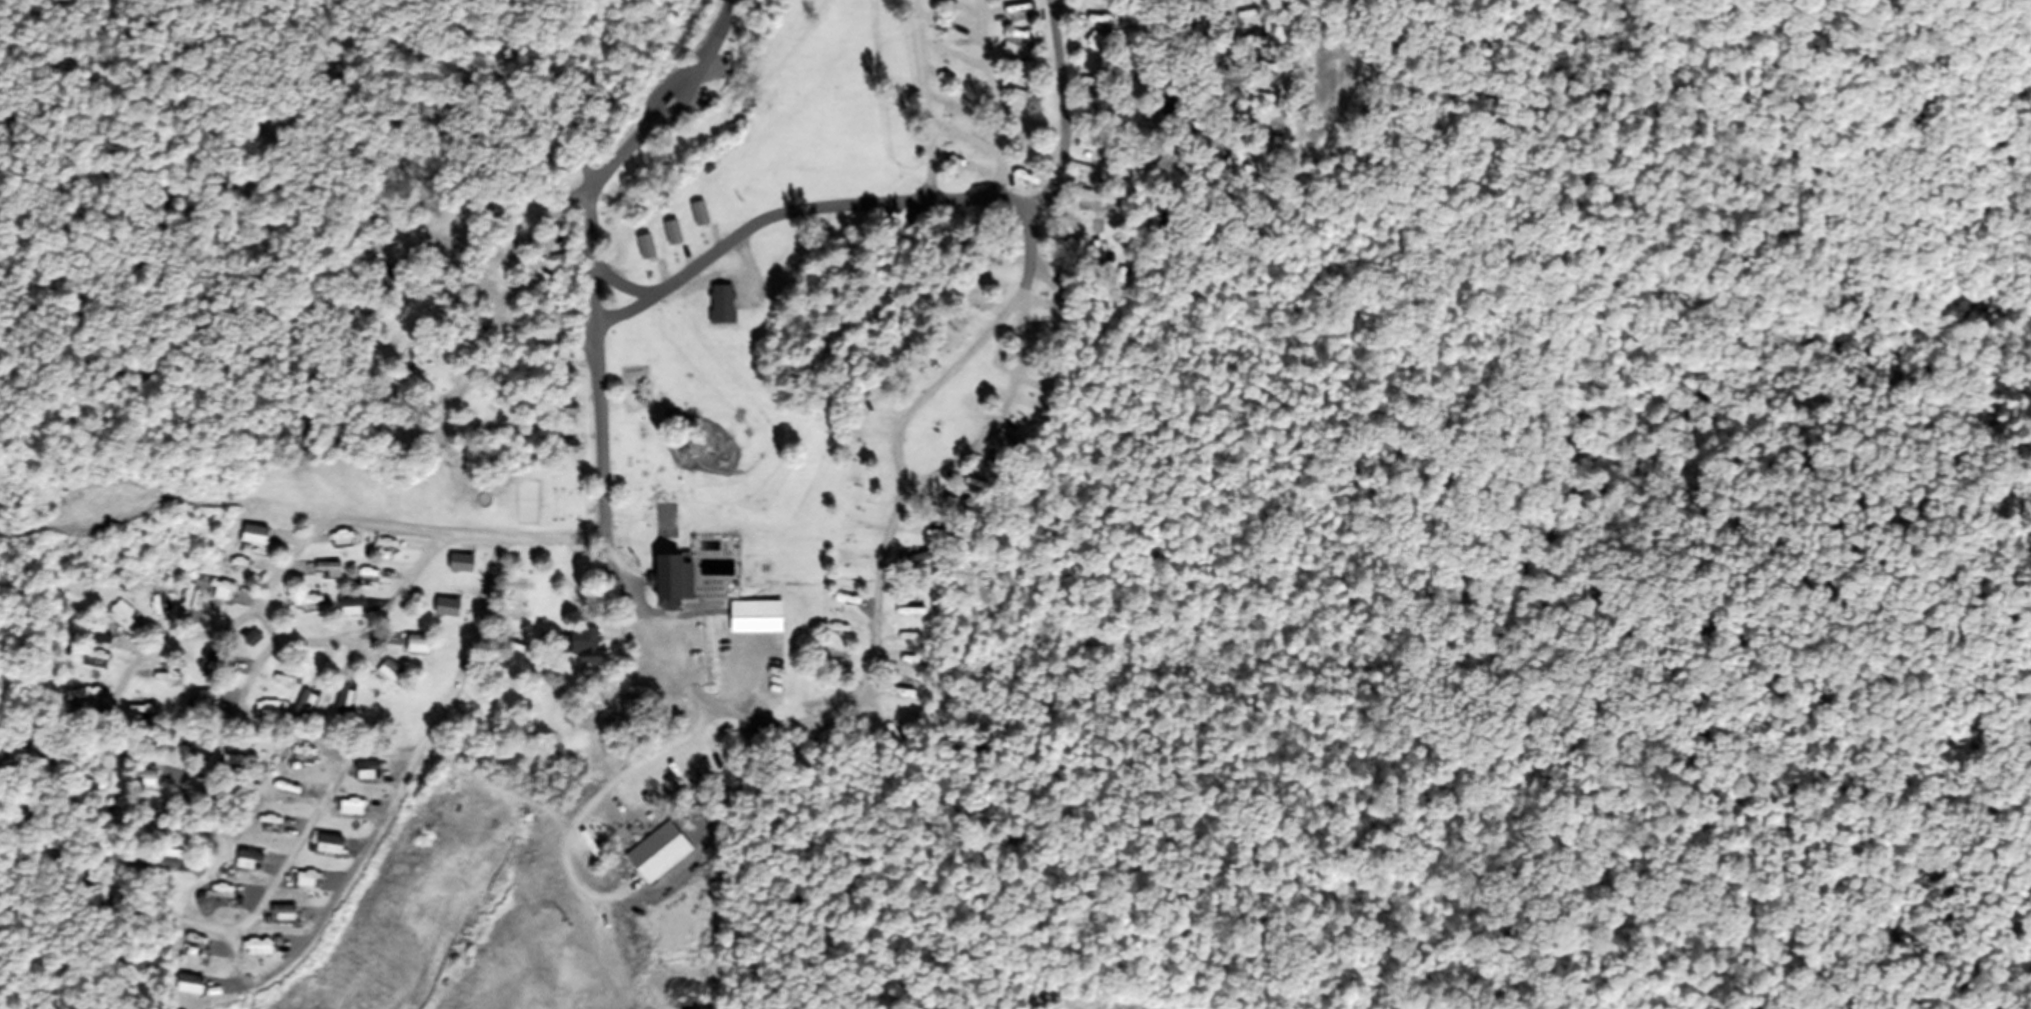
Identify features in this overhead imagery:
building: (937, 1)
building: (1106, 20)
building: (1026, 39)
building: (1085, 80)
road: (990, 99)
road: (921, 100)
building: (1160, 106)
road: (629, 148)
building: (1085, 148)
building: (1166, 163)
road: (1072, 206)
road: (802, 211)
building: (699, 217)
building: (671, 236)
building: (644, 250)
building: (1092, 250)
building: (1010, 270)
building: (1123, 283)
road: (509, 286)
building: (720, 309)
road: (949, 374)
building: (563, 378)
building: (564, 414)
building: (567, 451)
building: (953, 504)
building: (458, 566)
road: (416, 571)
building: (328, 573)
building: (676, 582)
building: (349, 610)
building: (123, 616)
building: (910, 616)
building: (755, 620)
building: (99, 637)
building: (251, 642)
building: (417, 647)
building: (583, 647)
building: (214, 662)
building: (389, 674)
building: (283, 682)
building: (341, 701)
building: (201, 702)
building: (304, 707)
road: (851, 707)
building: (270, 712)
building: (302, 755)
road: (64, 760)
building: (232, 765)
building: (365, 773)
building: (144, 780)
building: (91, 785)
road: (599, 788)
building: (350, 810)
road: (312, 811)
building: (189, 833)
building: (327, 847)
building: (158, 863)
building: (248, 863)
road: (354, 863)
building: (543, 874)
building: (304, 882)
building: (221, 895)
building: (282, 916)
building: (257, 951)
building: (188, 988)

